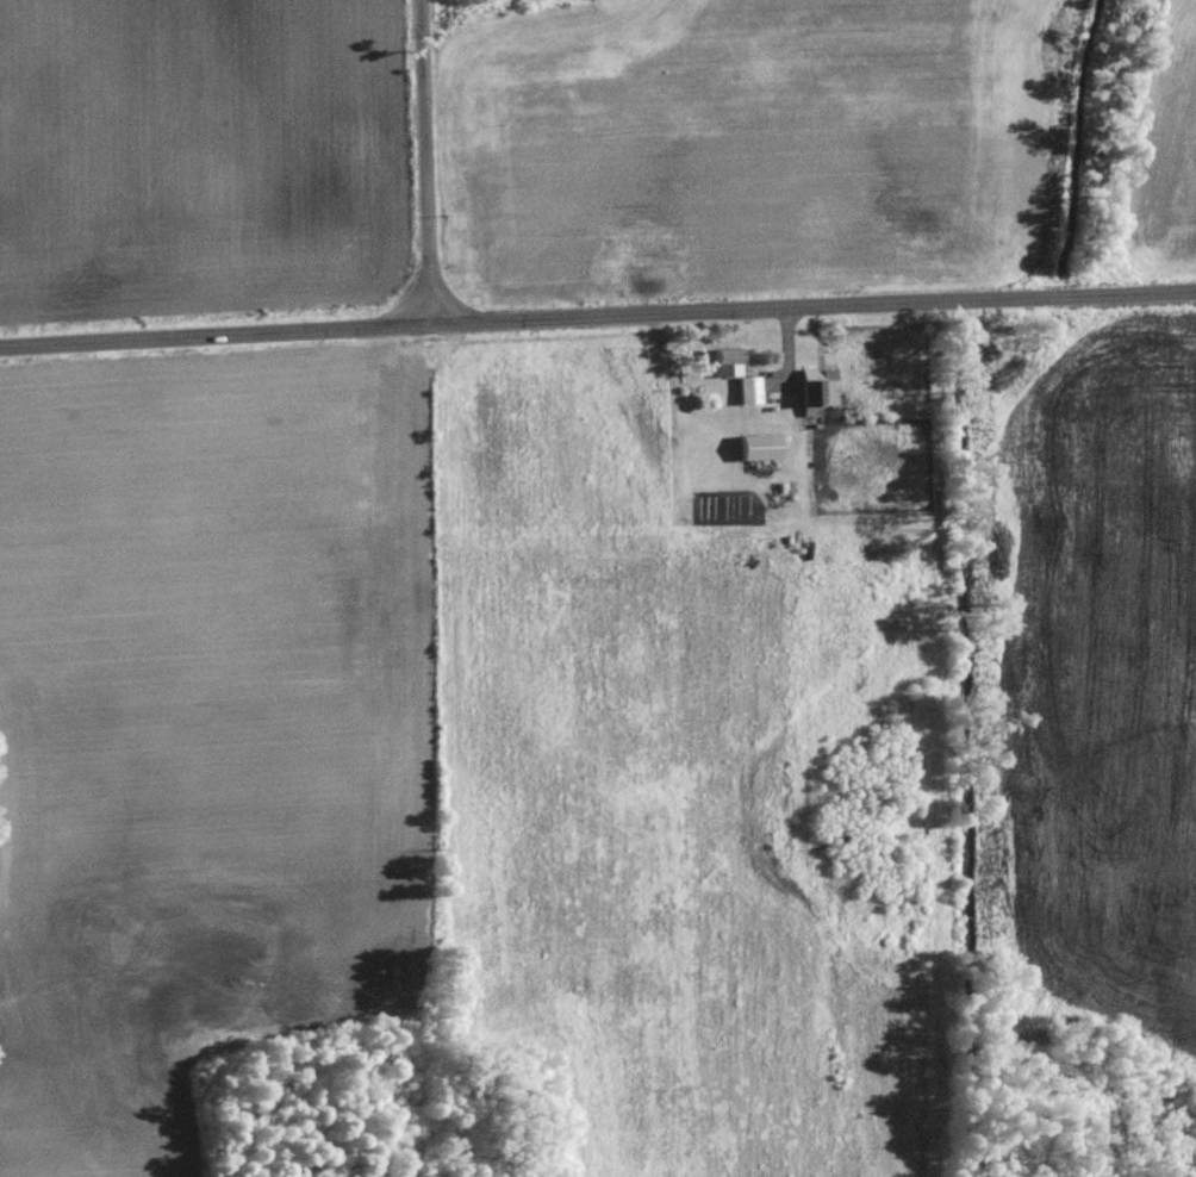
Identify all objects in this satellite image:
road: (425, 161)
road: (597, 315)
building: (729, 360)
building: (820, 388)
building: (750, 390)
building: (764, 446)

